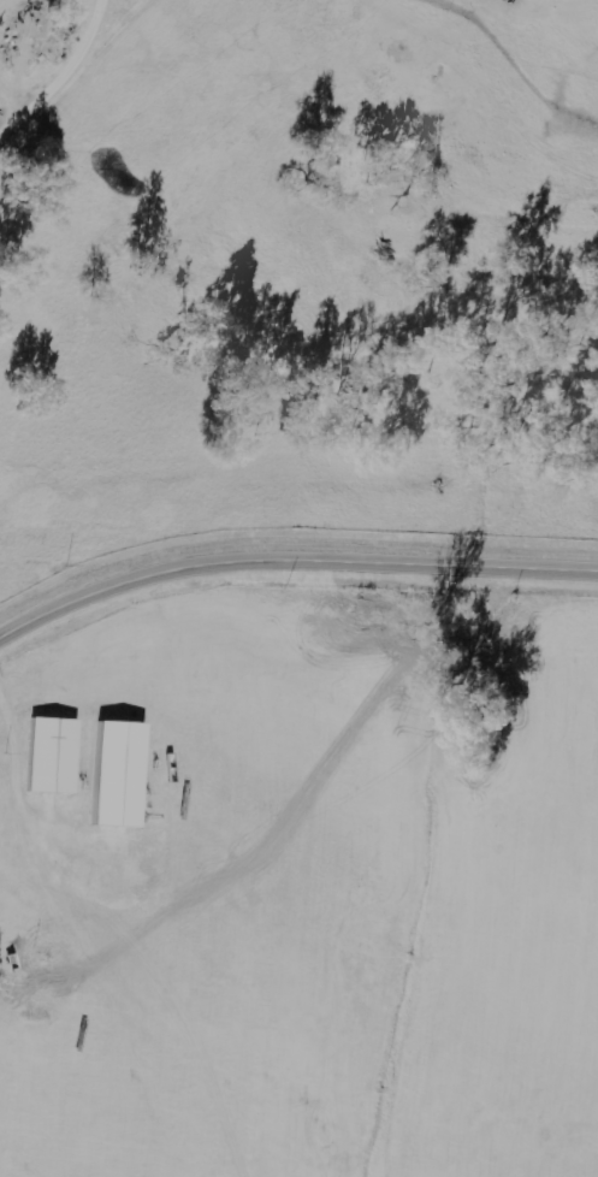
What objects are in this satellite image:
road: (58, 73)
road: (291, 560)
building: (52, 756)
building: (116, 775)

